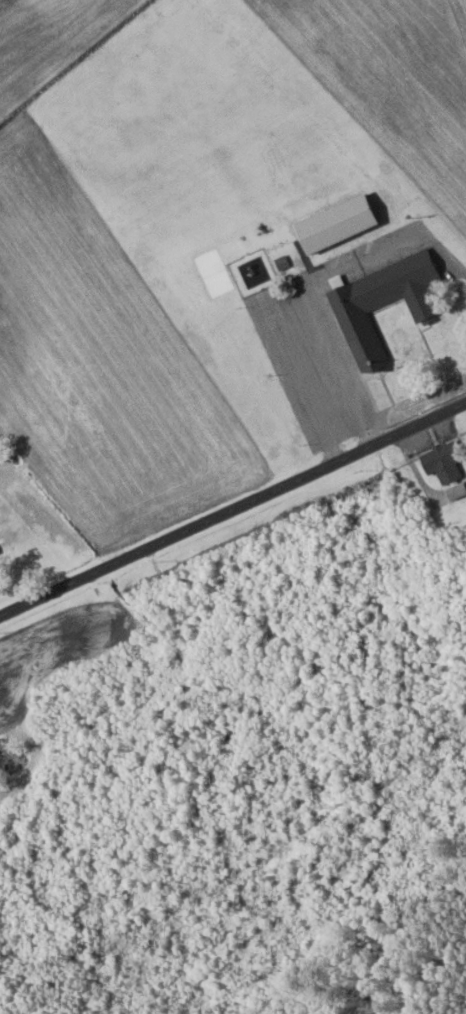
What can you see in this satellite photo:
building: (380, 303)
building: (440, 463)
building: (455, 490)
road: (233, 508)

